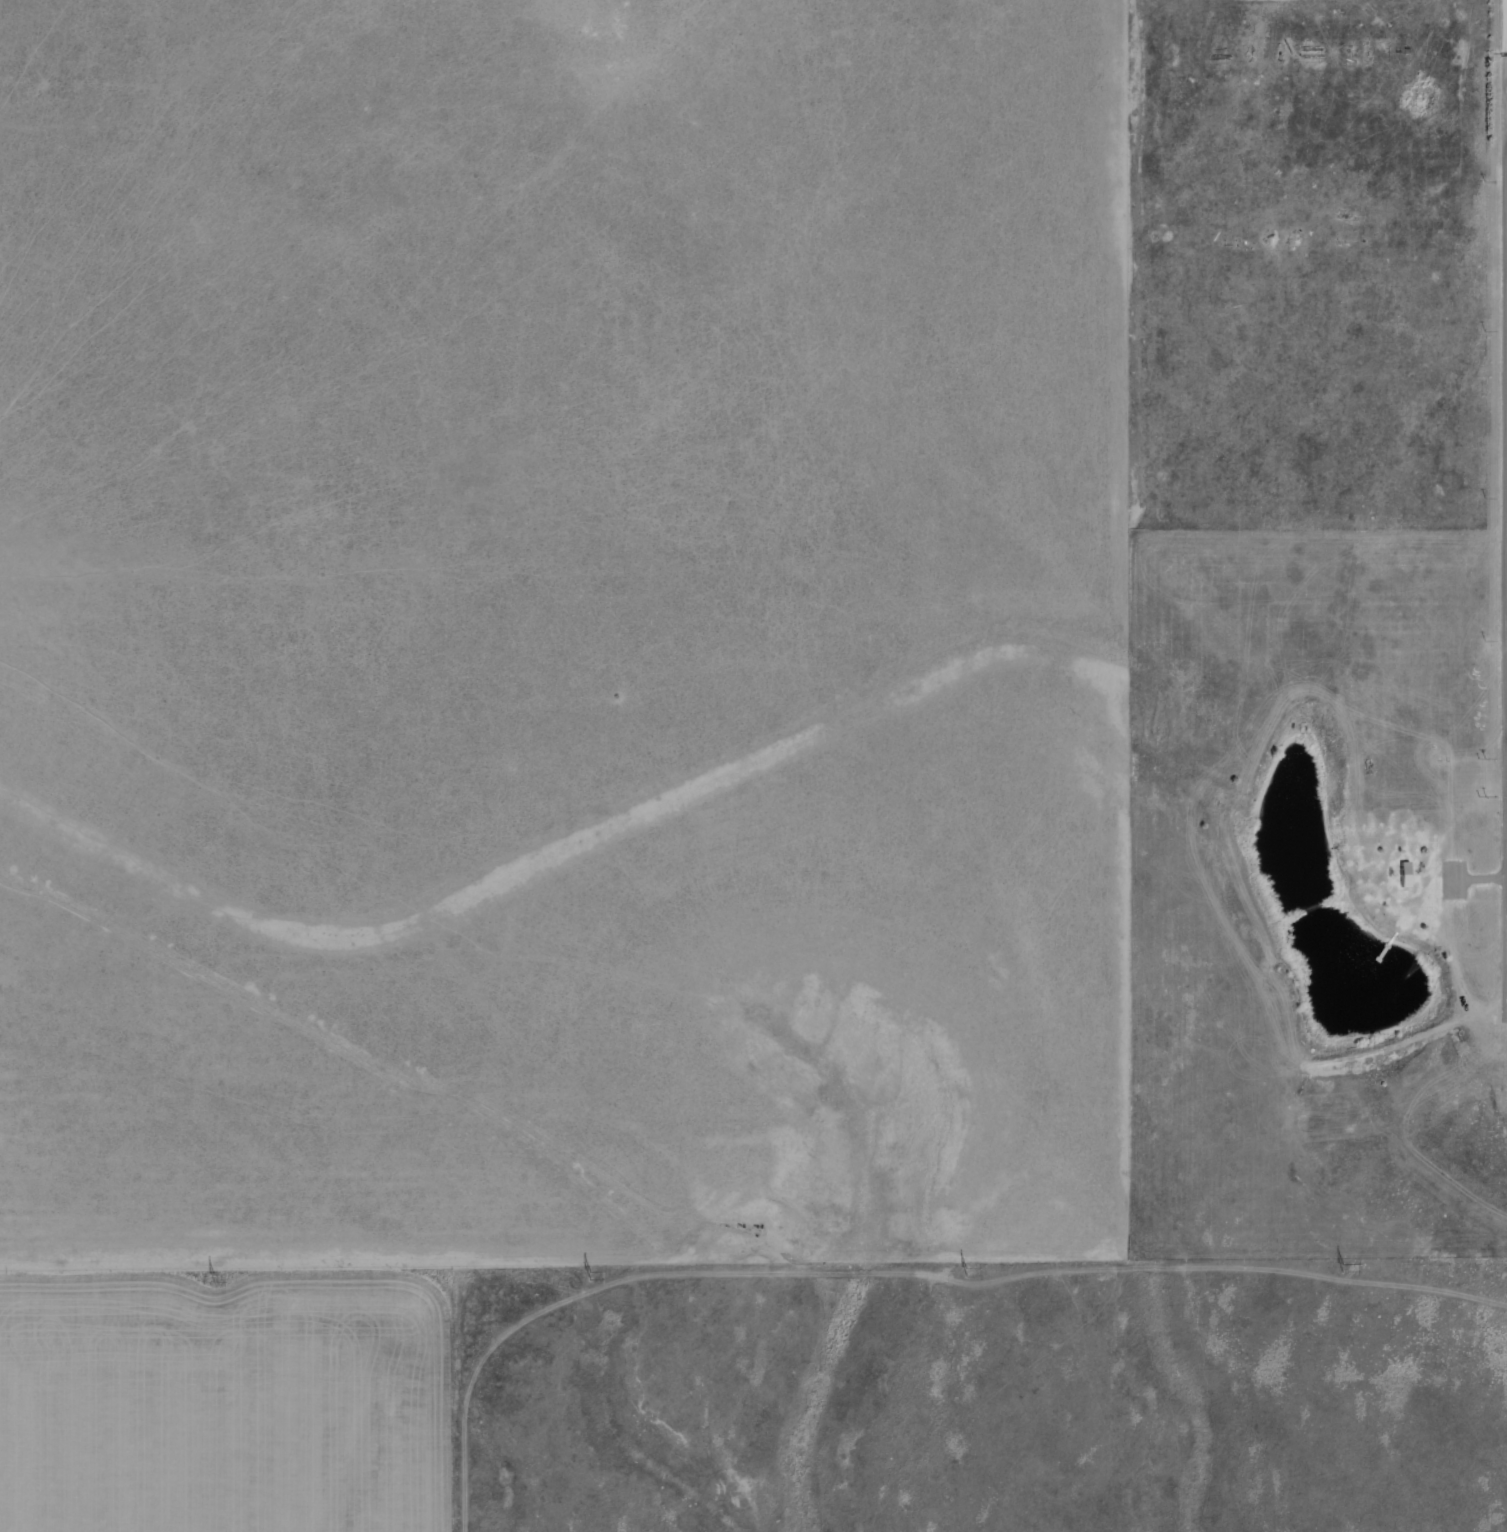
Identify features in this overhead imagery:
building: (1393, 874)

